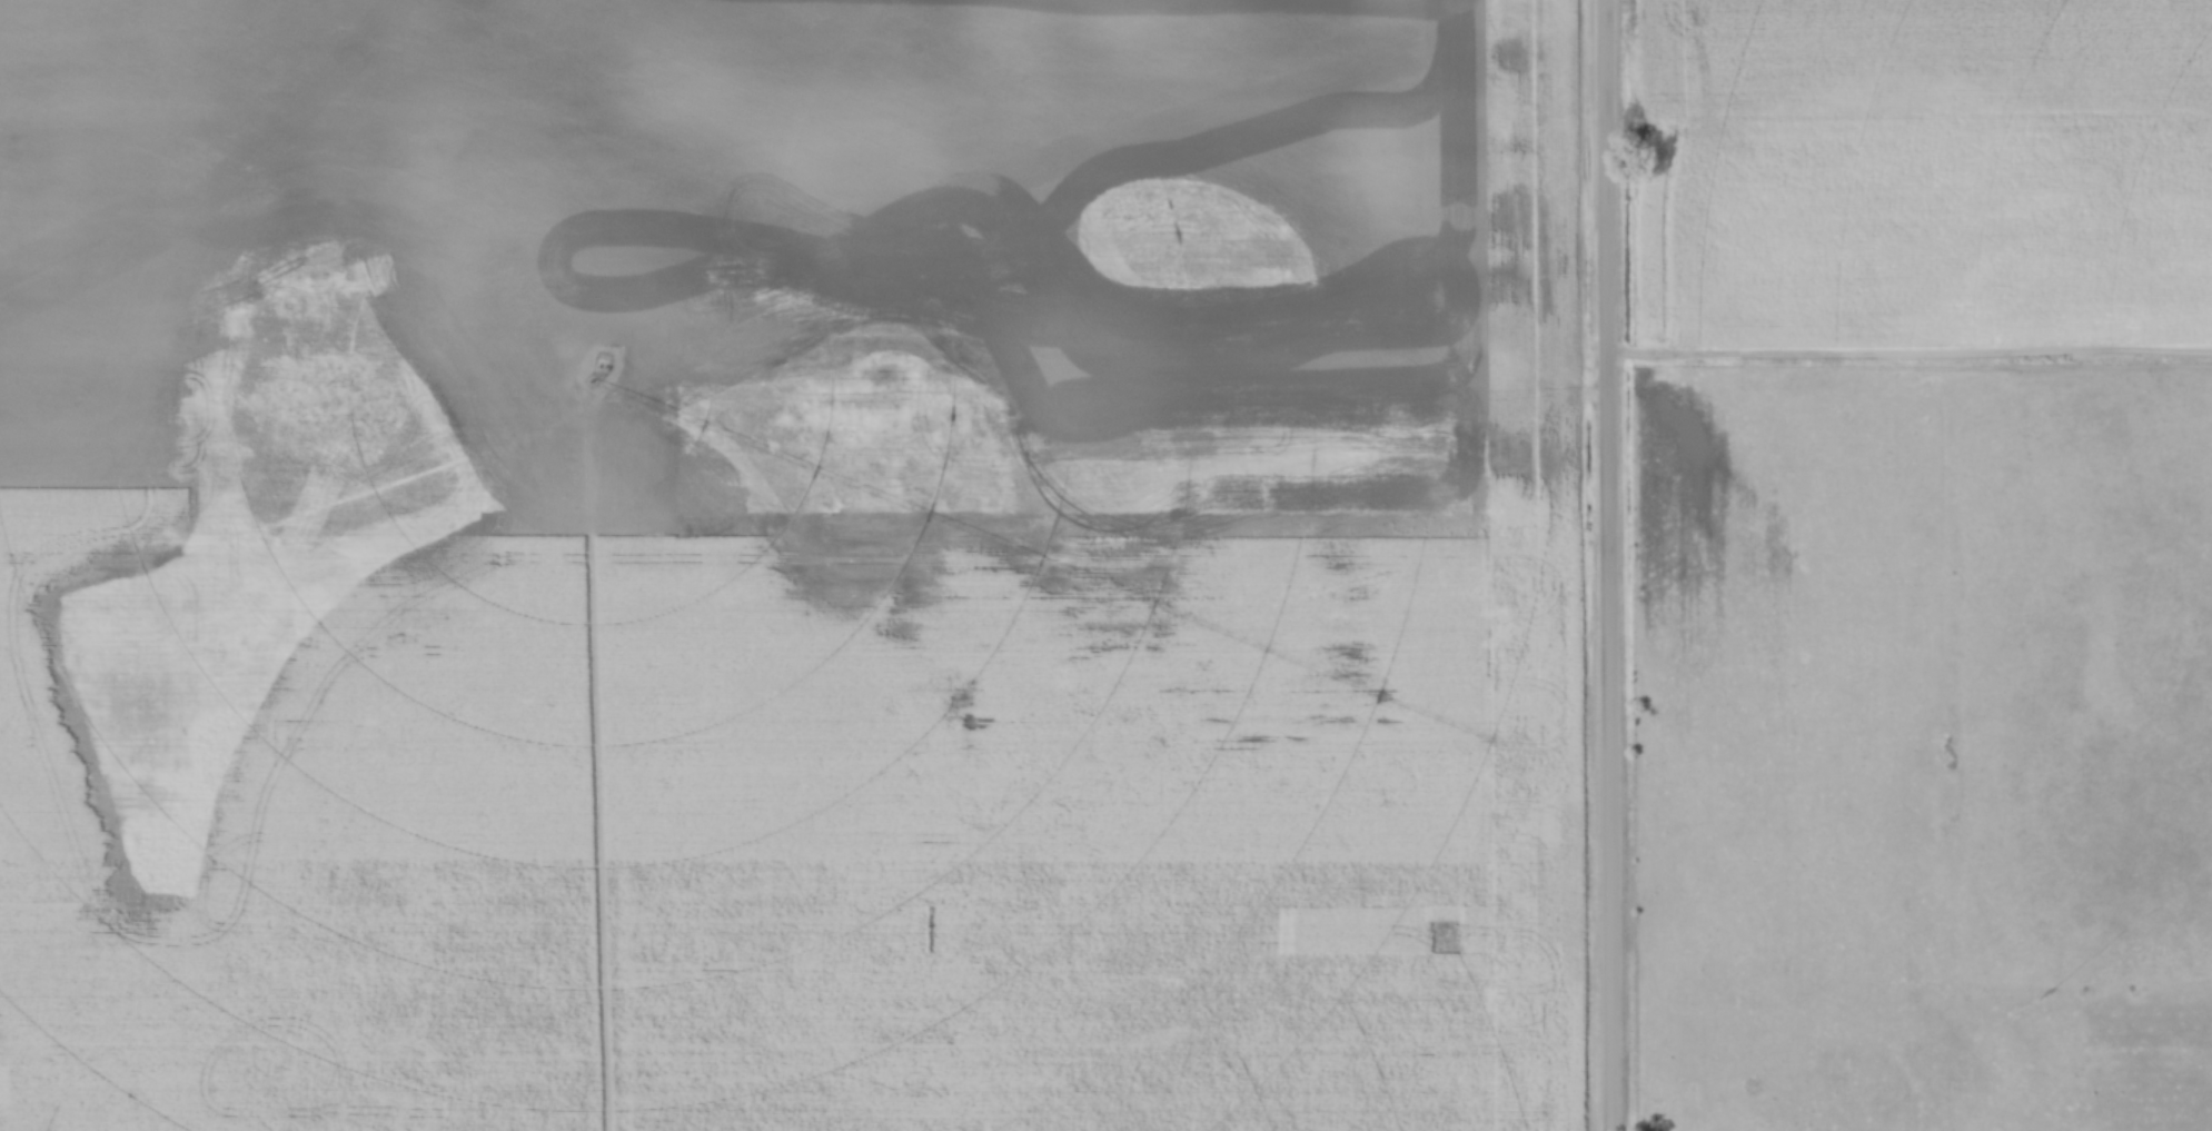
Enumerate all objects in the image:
road: (1614, 565)

